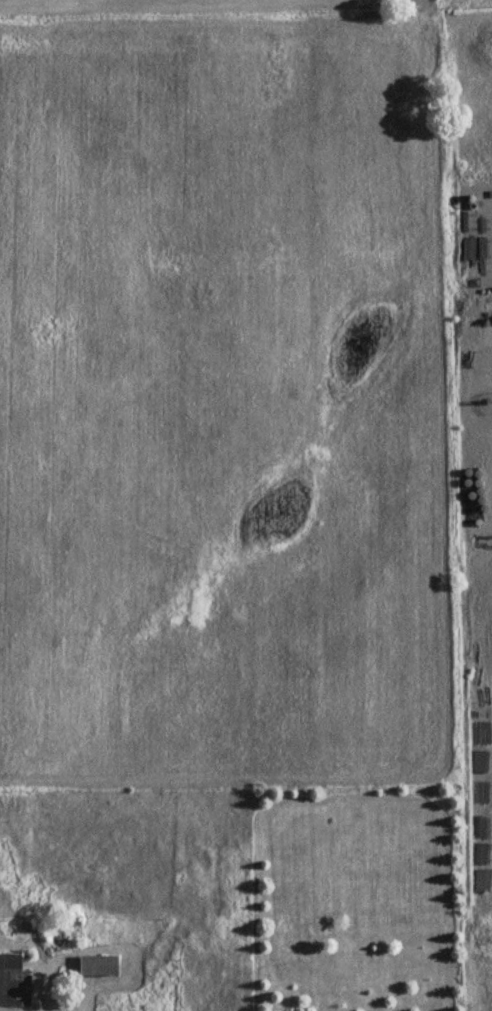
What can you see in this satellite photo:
building: (95, 965)
building: (16, 979)

